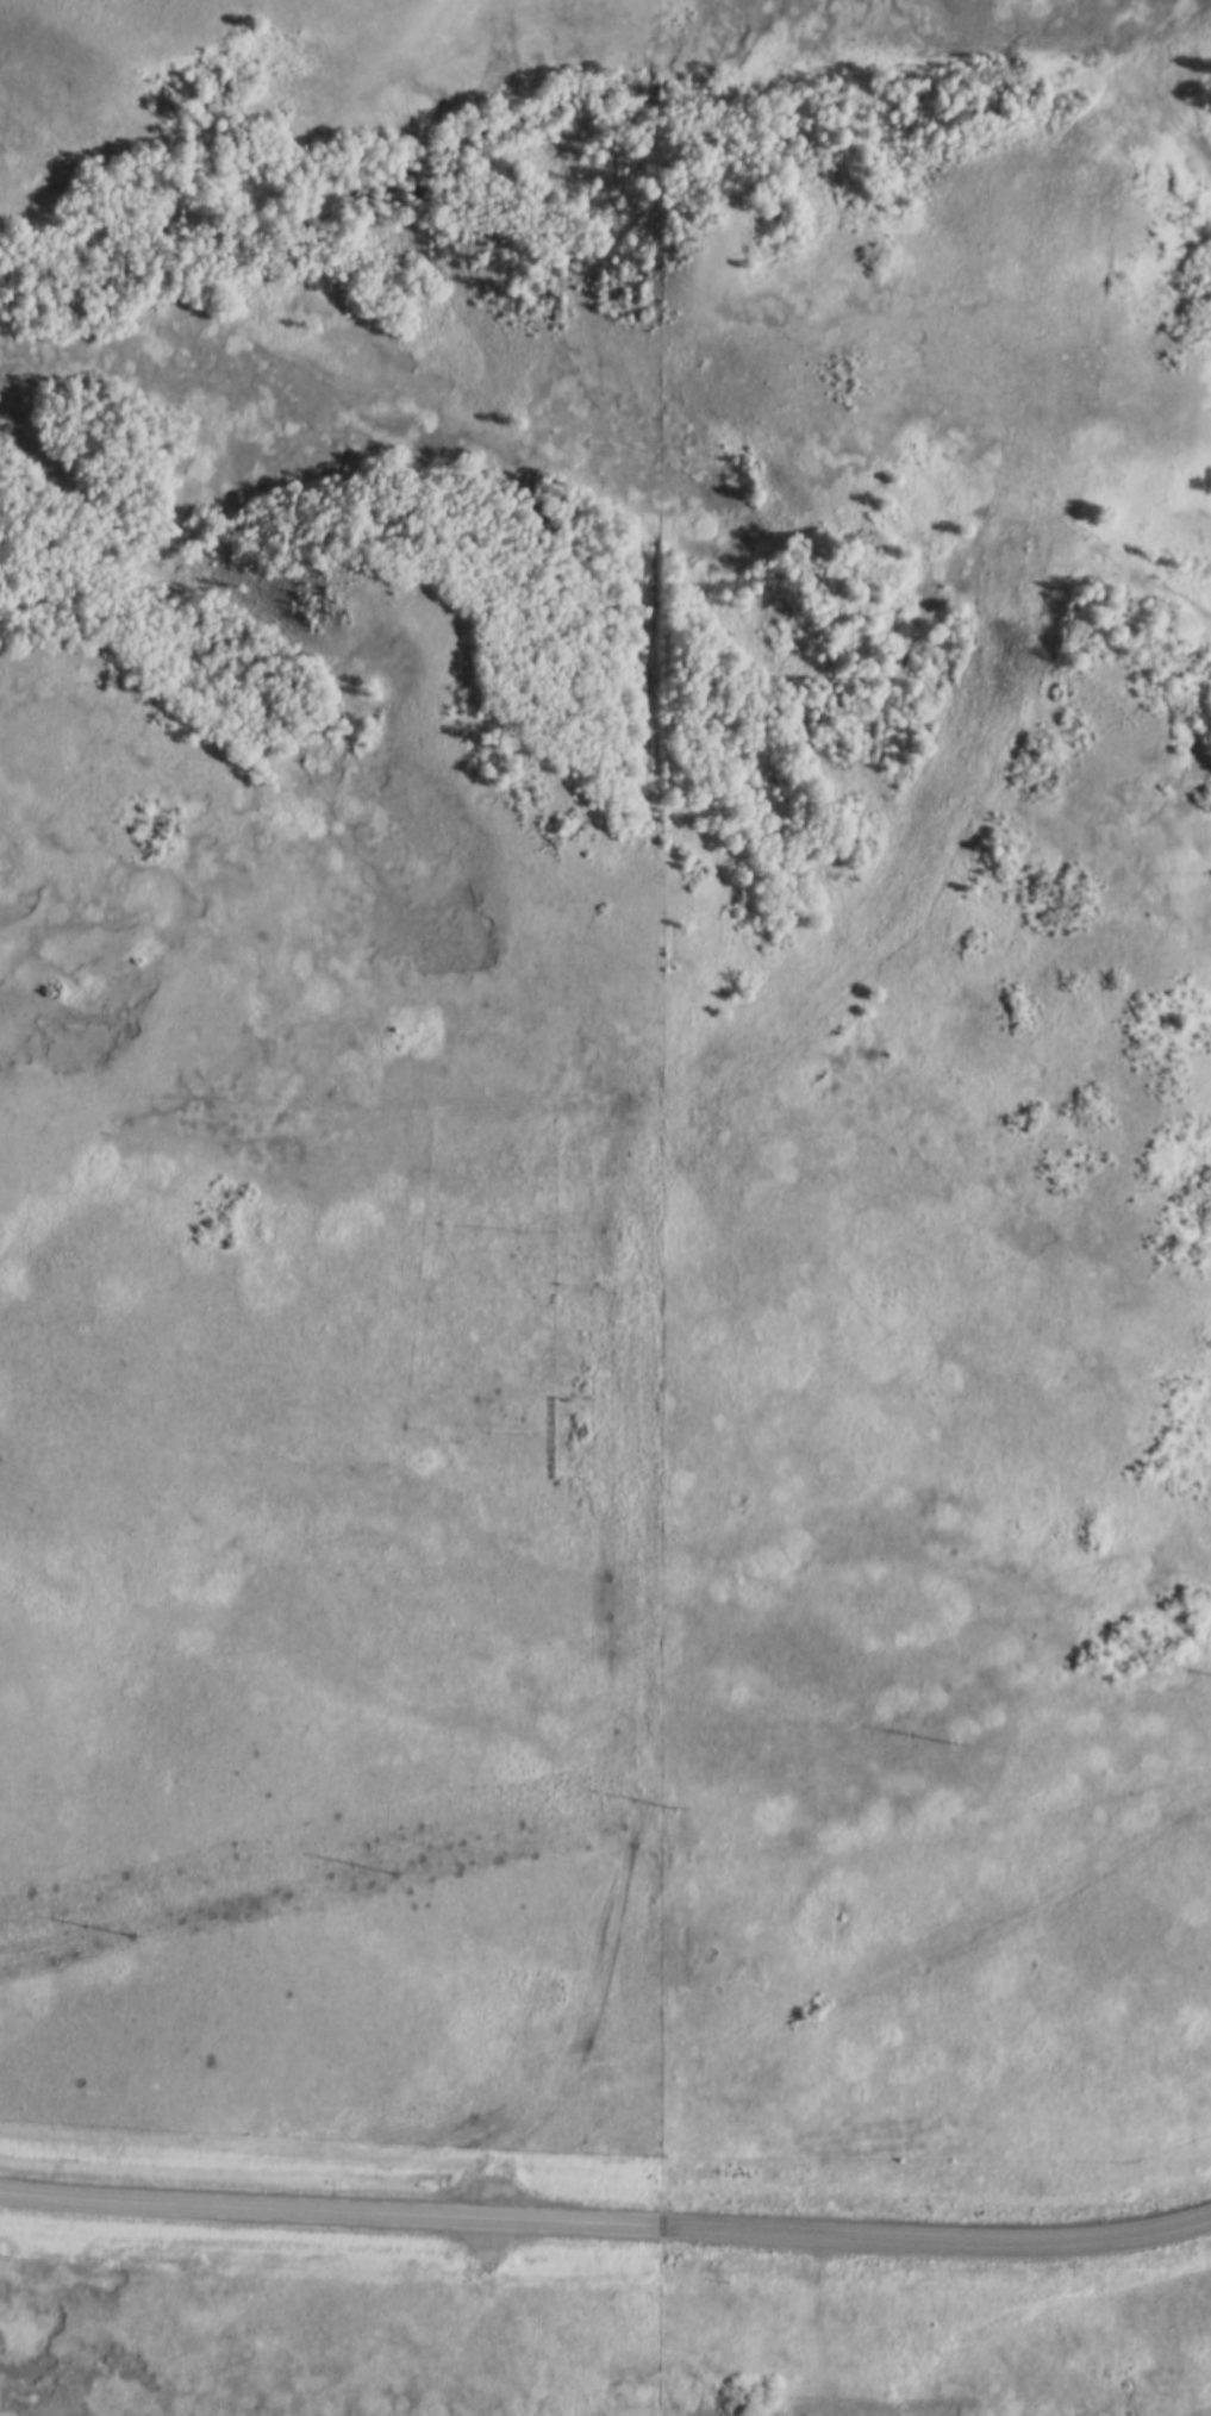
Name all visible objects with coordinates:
road: (607, 2230)
road: (501, 2320)
road: (464, 2341)
road: (1201, 2411)

